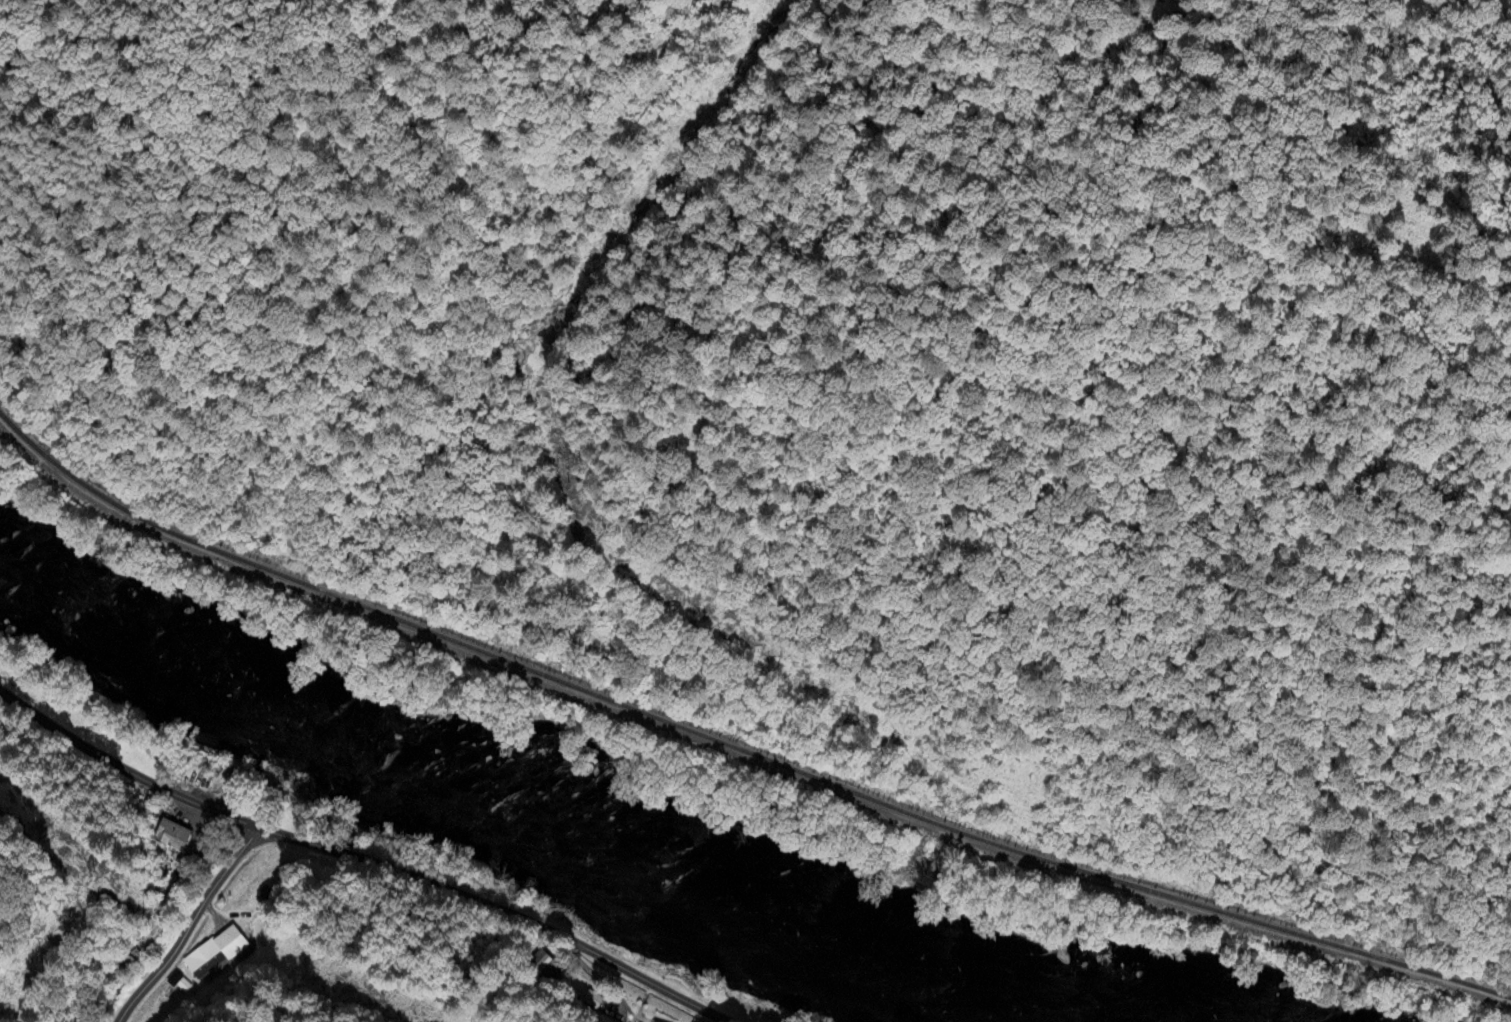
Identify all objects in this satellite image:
railway: (734, 748)
road: (123, 769)
river: (521, 808)
building: (172, 836)
building: (265, 895)
road: (498, 909)
road: (188, 925)
building: (205, 963)
building: (592, 1002)

